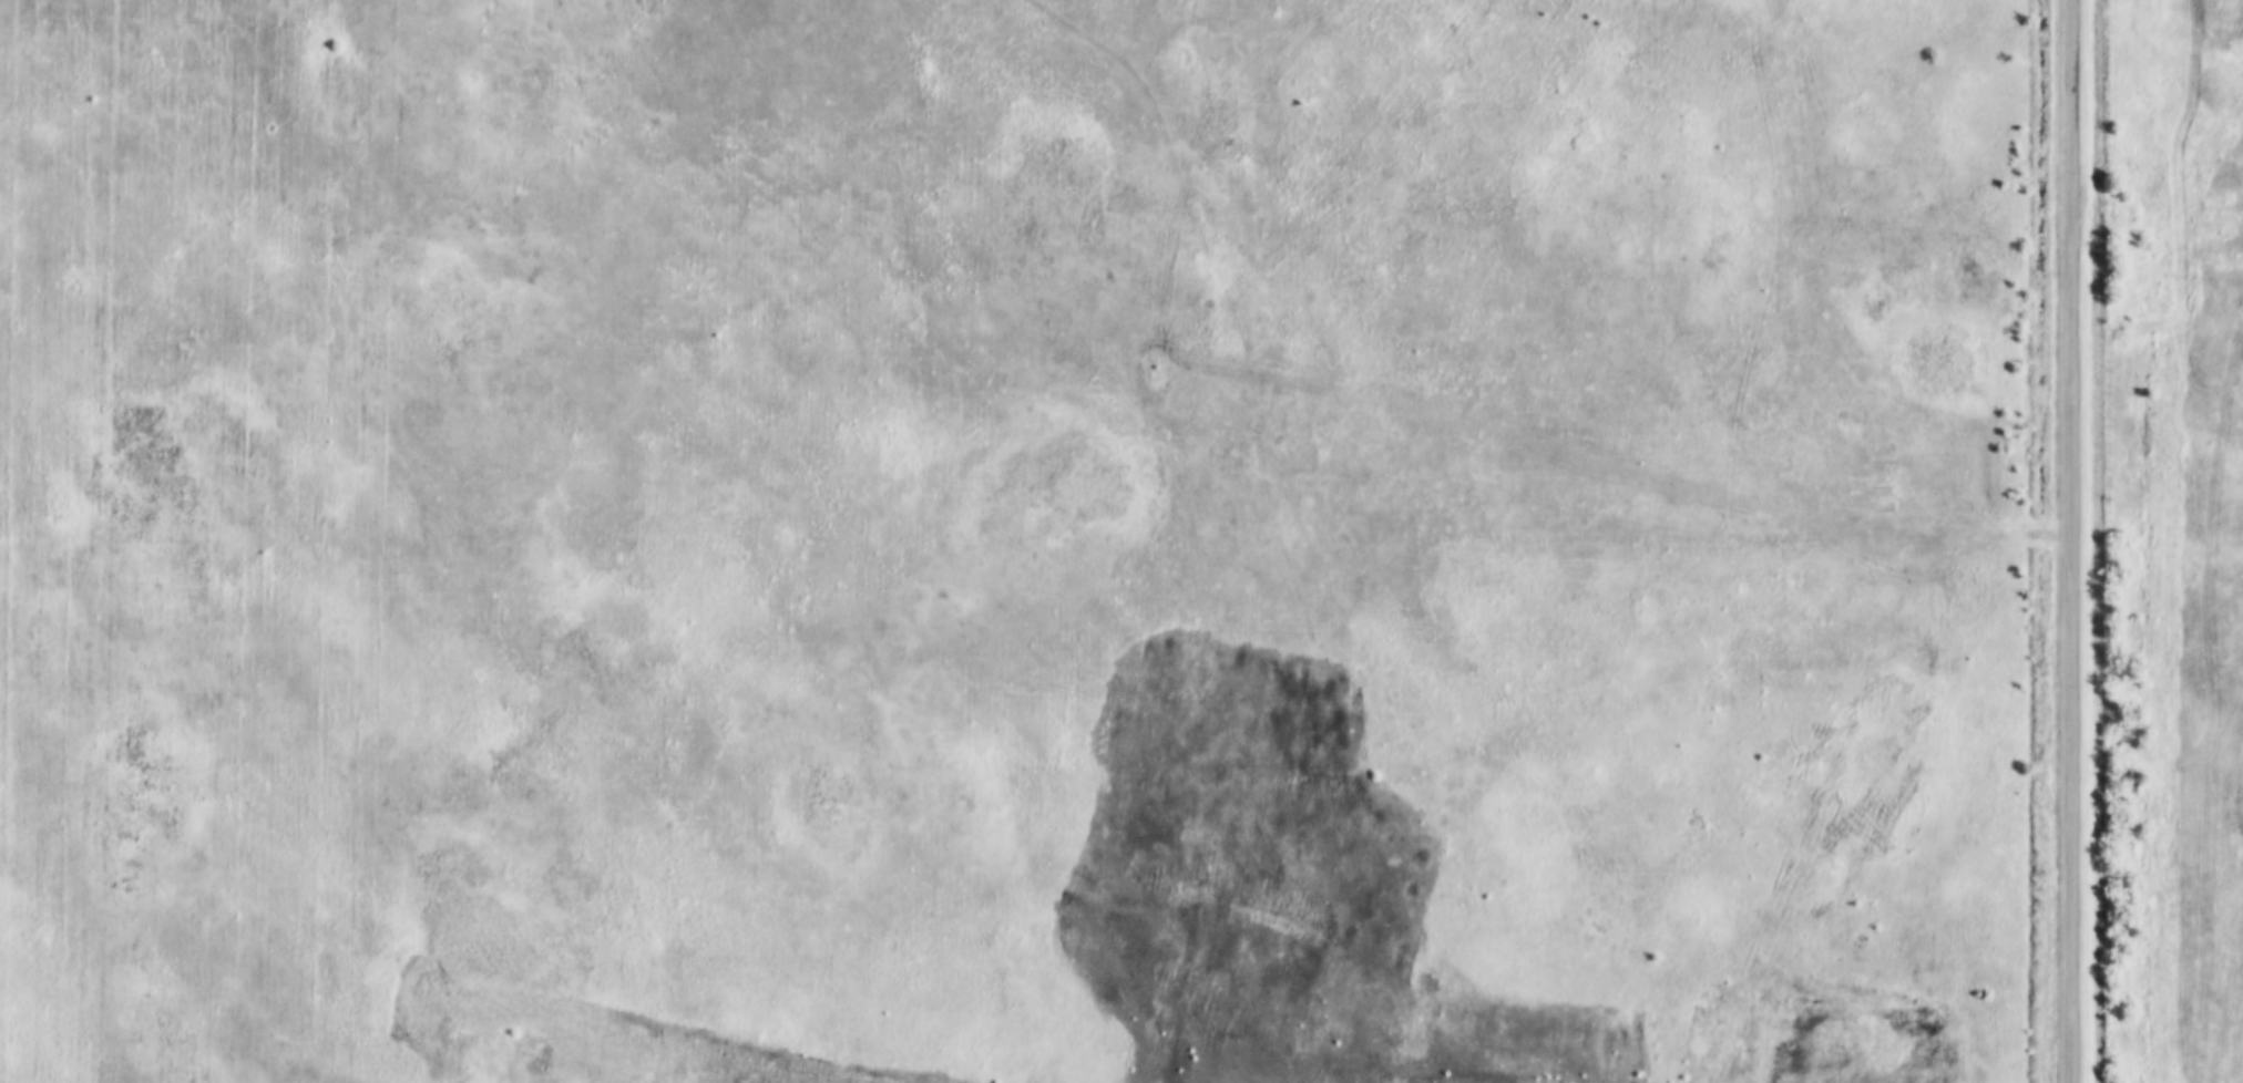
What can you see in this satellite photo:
airport: (1023, 541)
road: (2076, 541)

